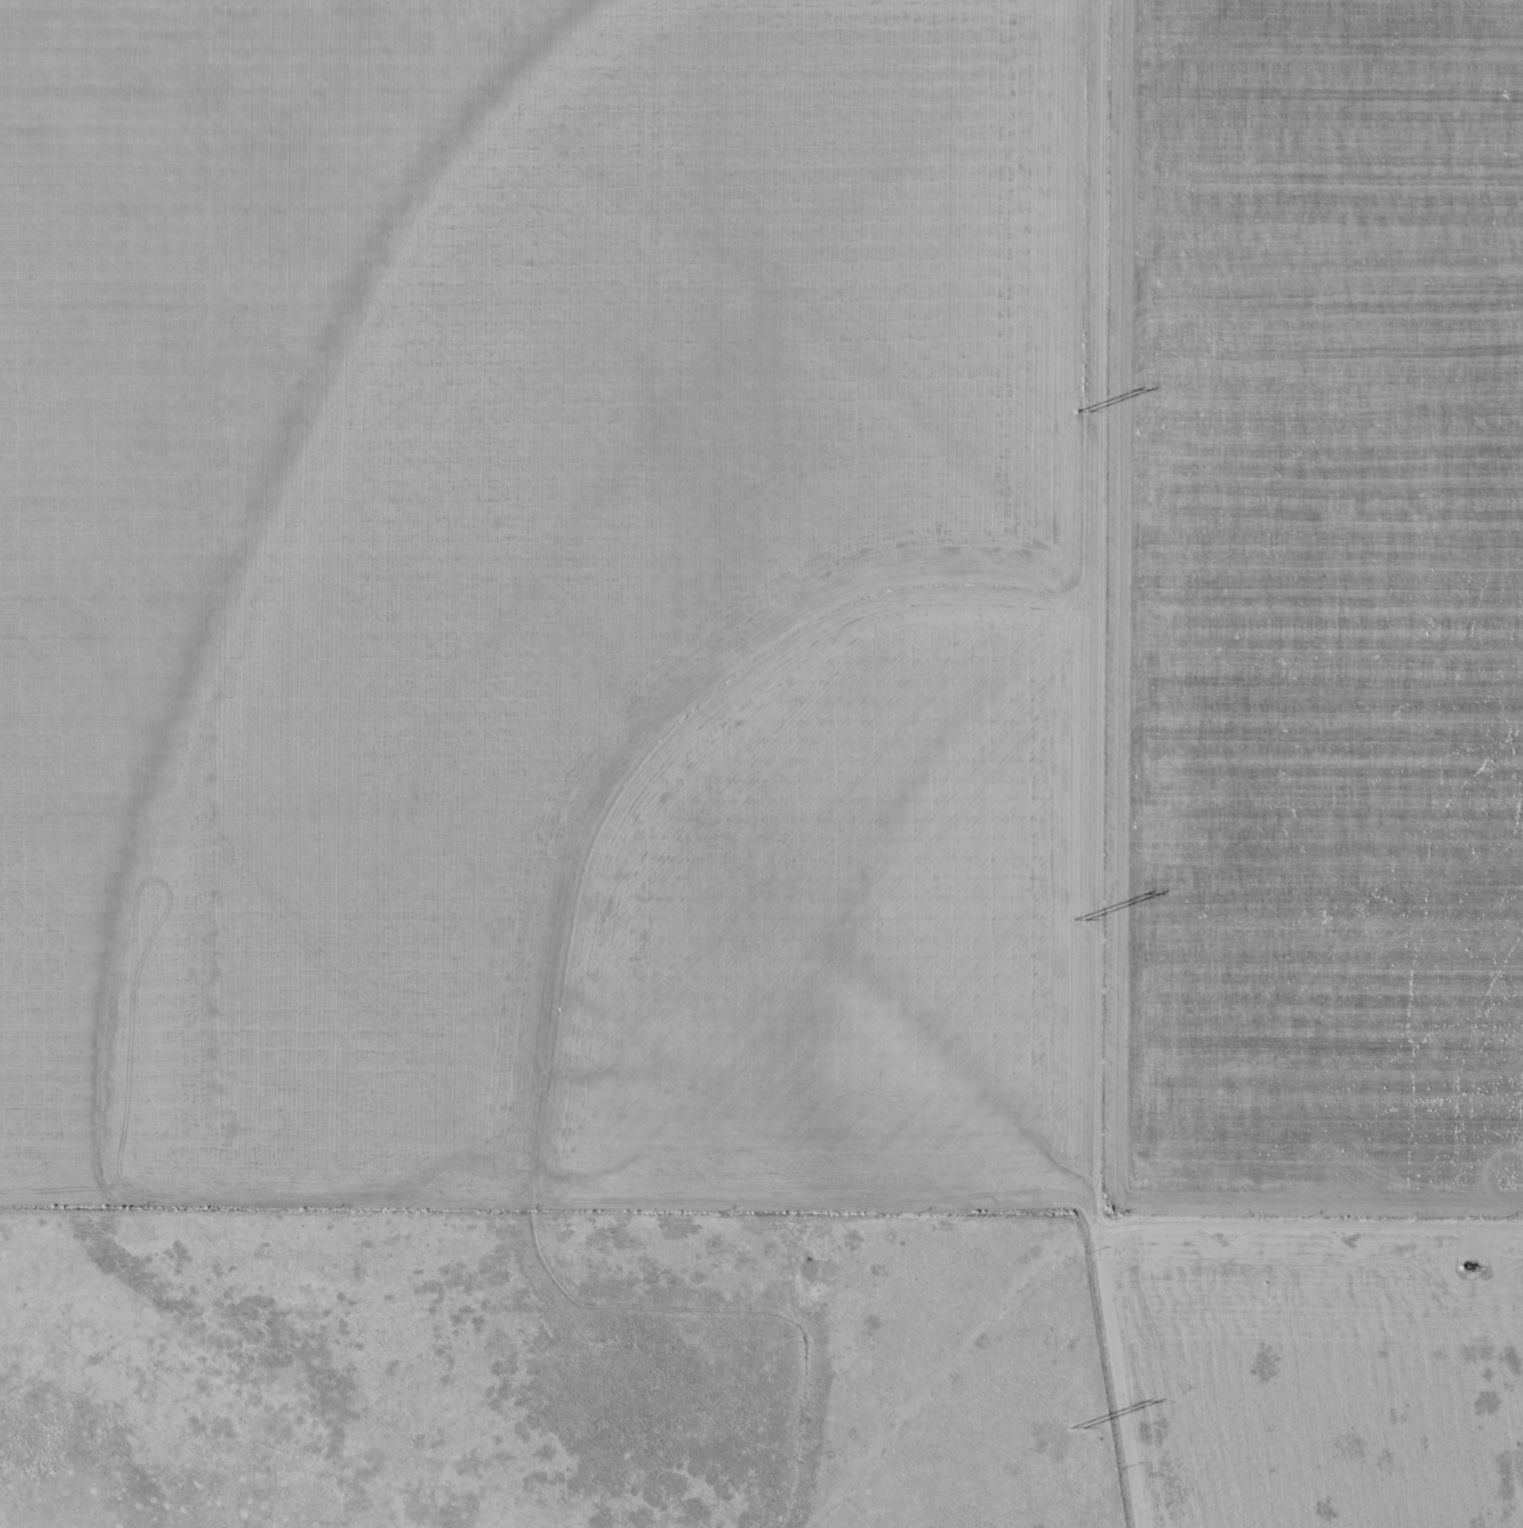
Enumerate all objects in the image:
power tower: (1081, 411)
power tower: (1078, 919)
power tower: (1075, 1430)

